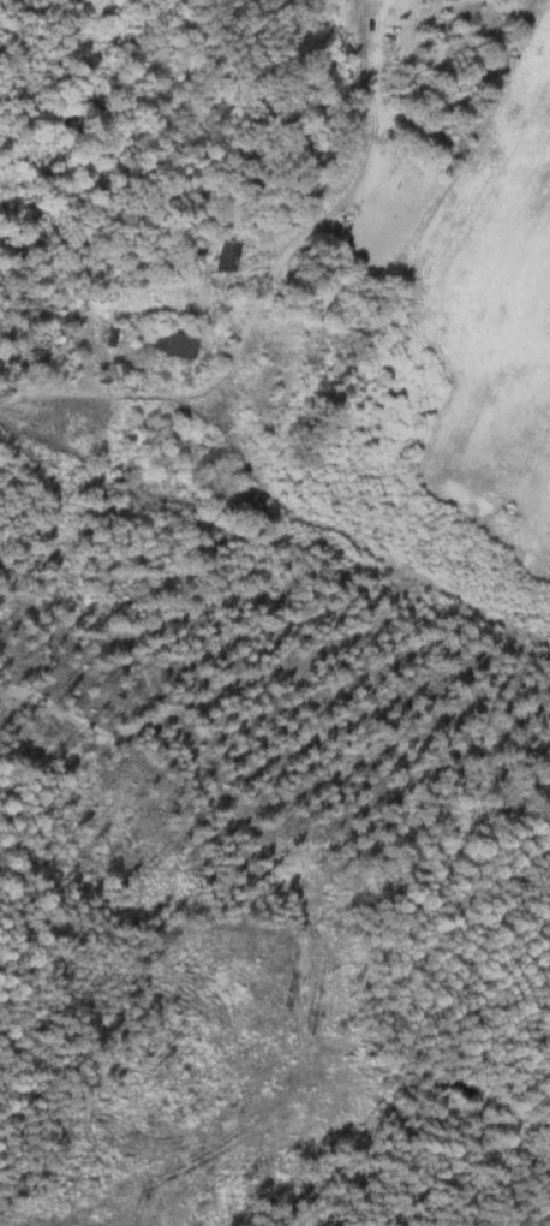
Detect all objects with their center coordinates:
building: (223, 258)
road: (271, 296)
building: (35, 302)
building: (174, 344)

